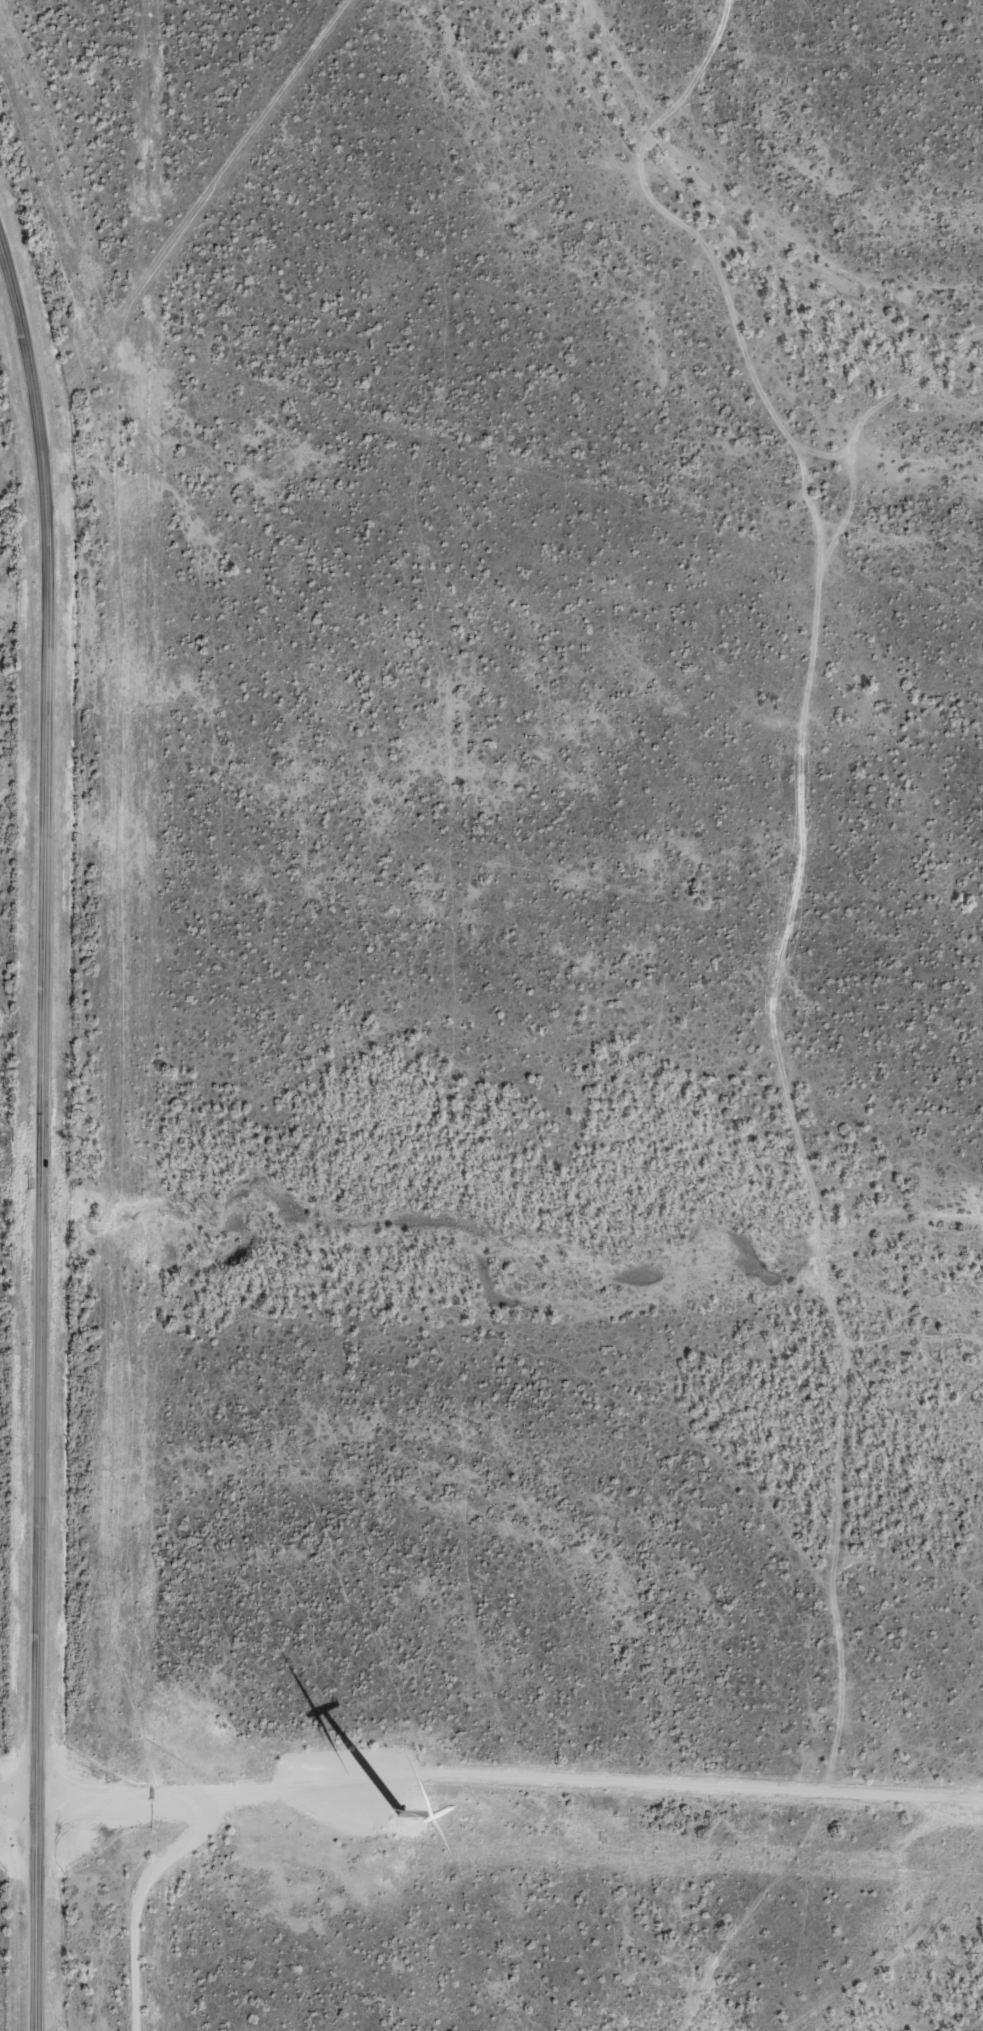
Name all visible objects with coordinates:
road: (773, 993)
road: (40, 1140)
wind turbine: (439, 1774)

